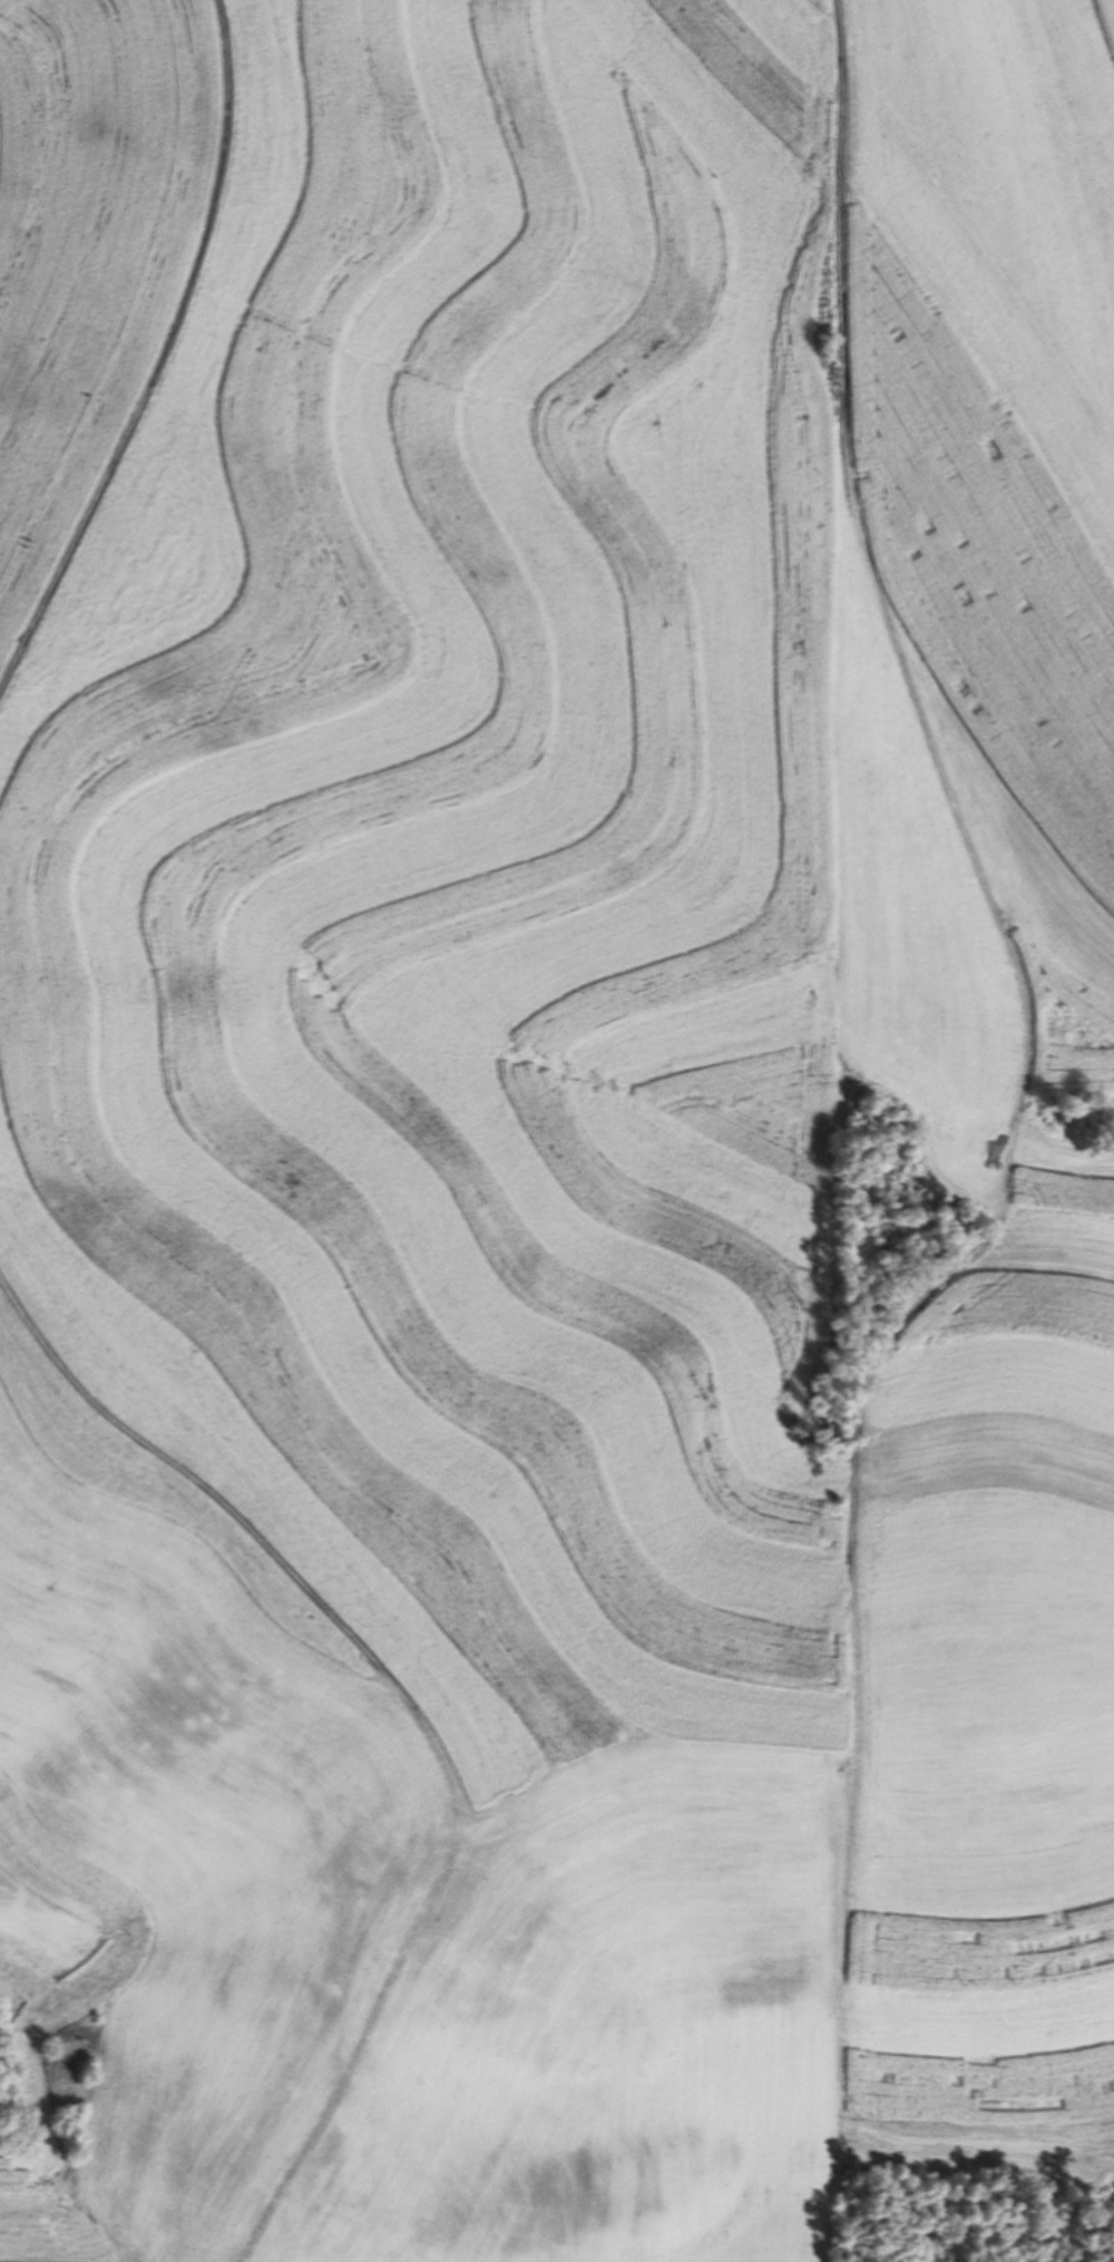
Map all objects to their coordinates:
road: (1025, 1078)

